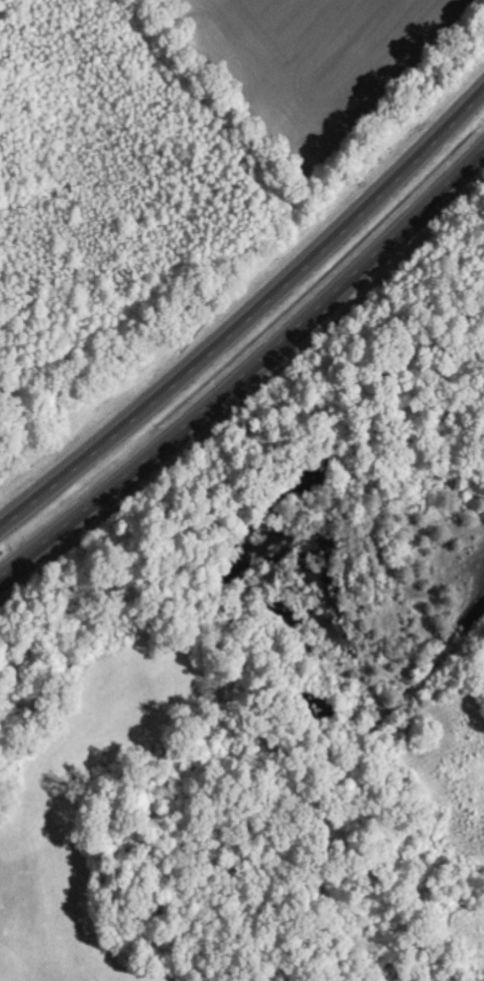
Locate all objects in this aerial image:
road: (249, 311)
road: (249, 373)

